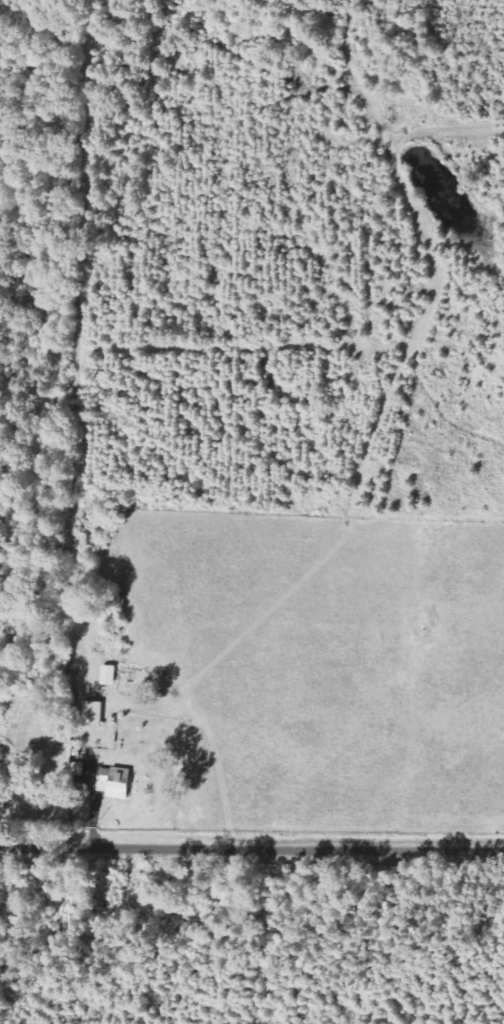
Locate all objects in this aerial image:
building: (96, 714)
building: (118, 783)
road: (251, 852)

